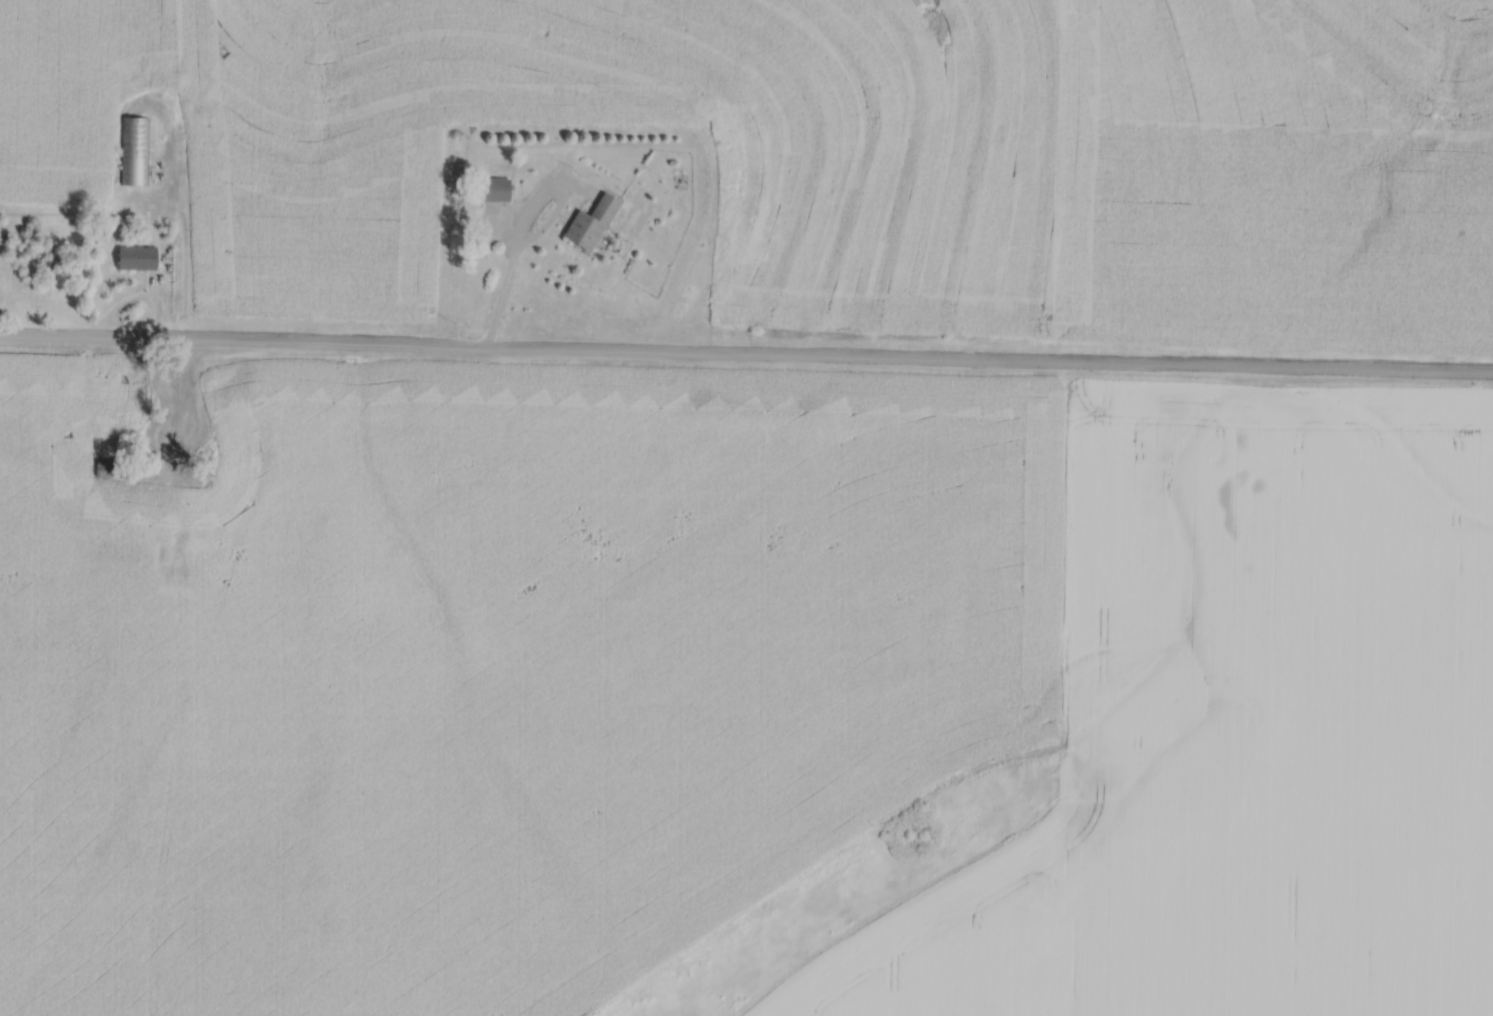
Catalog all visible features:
building: (135, 149)
building: (499, 187)
road: (536, 202)
building: (595, 221)
building: (141, 256)
road: (500, 298)
road: (746, 356)
building: (112, 466)

